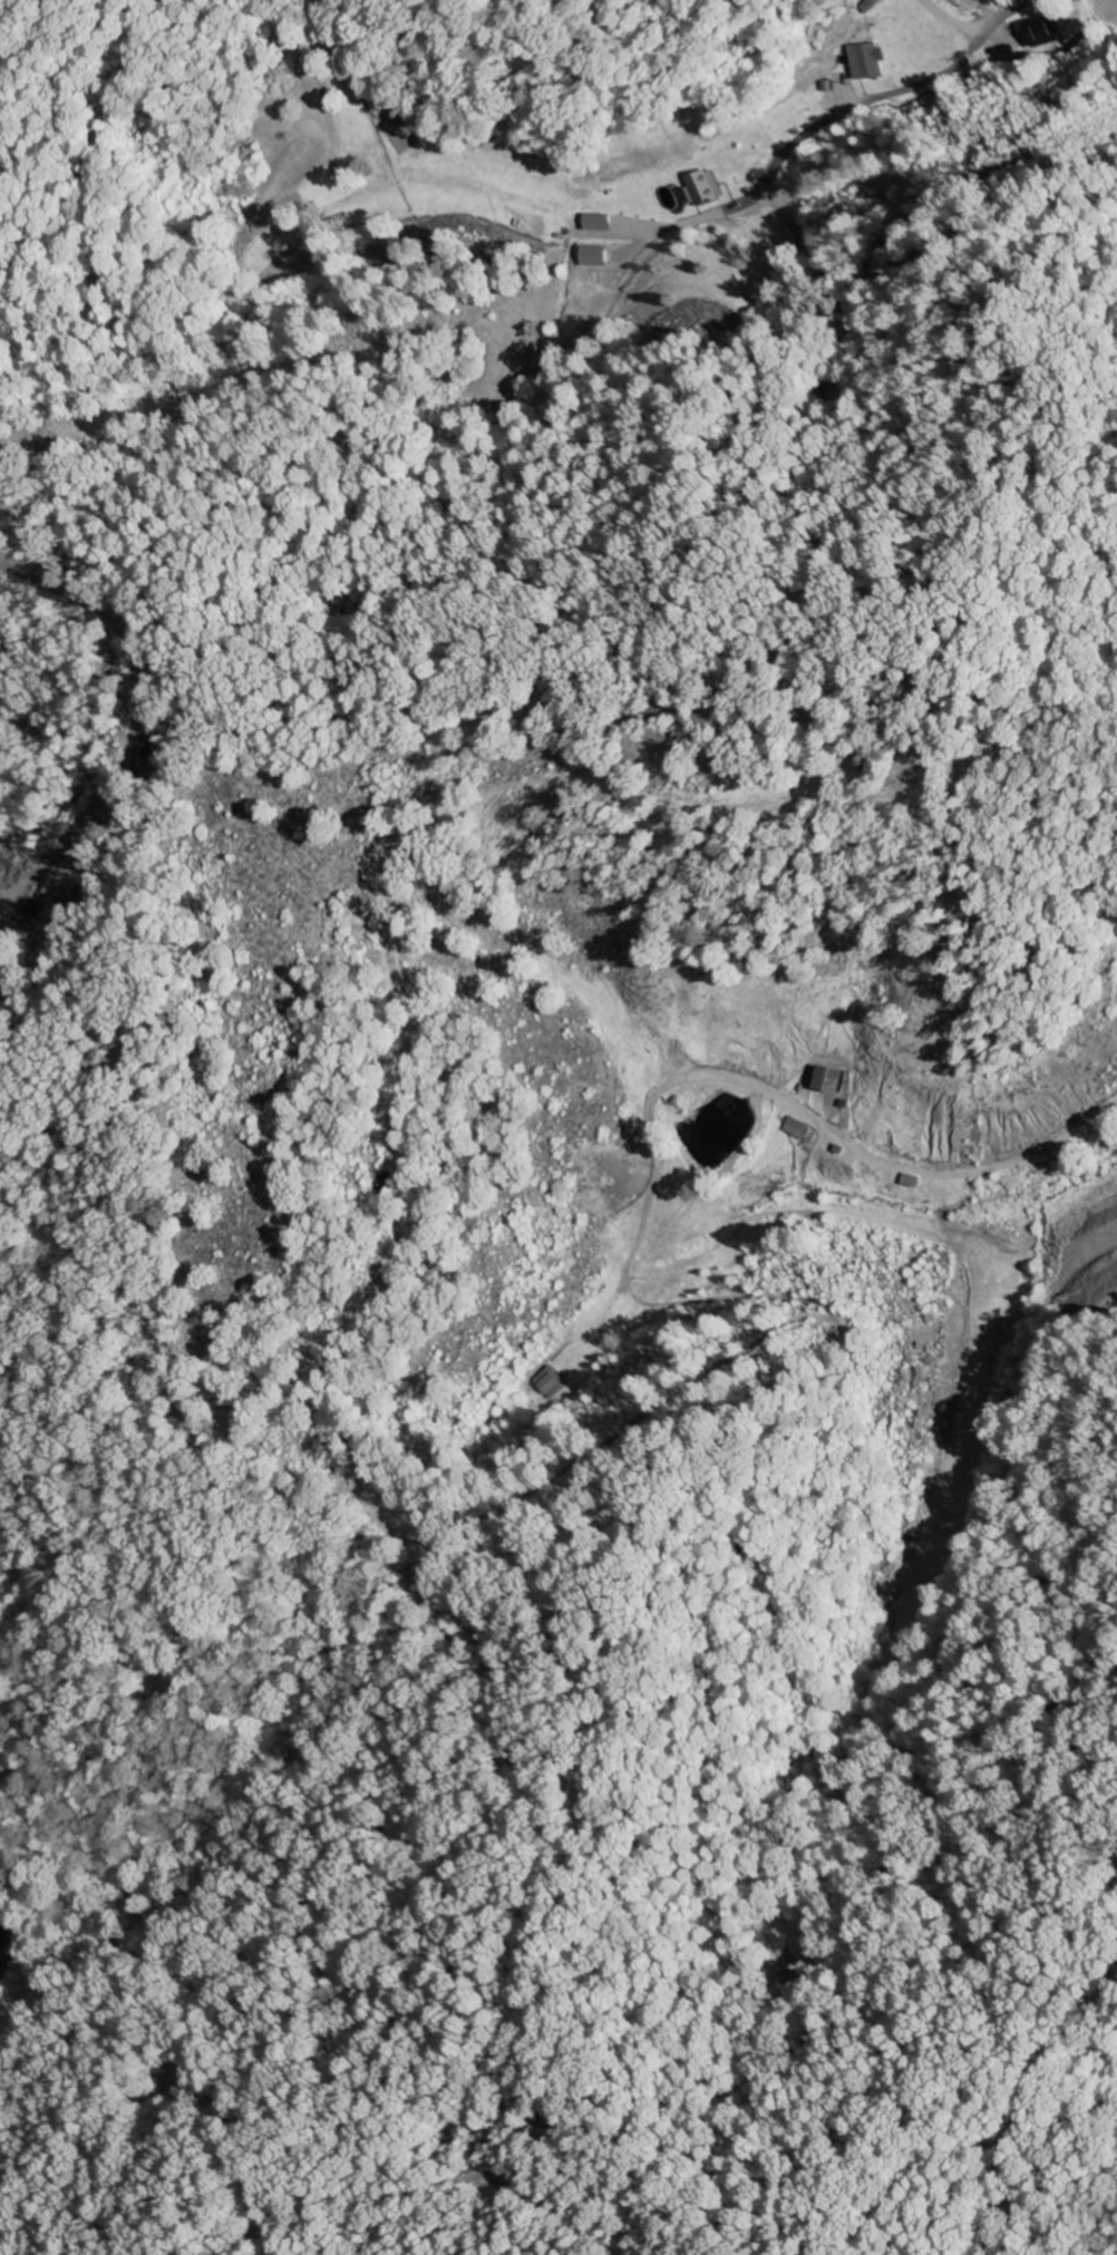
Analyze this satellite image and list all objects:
building: (1038, 31)
road: (970, 40)
building: (867, 60)
building: (702, 187)
building: (798, 1128)
building: (914, 1180)
building: (2, 1940)

